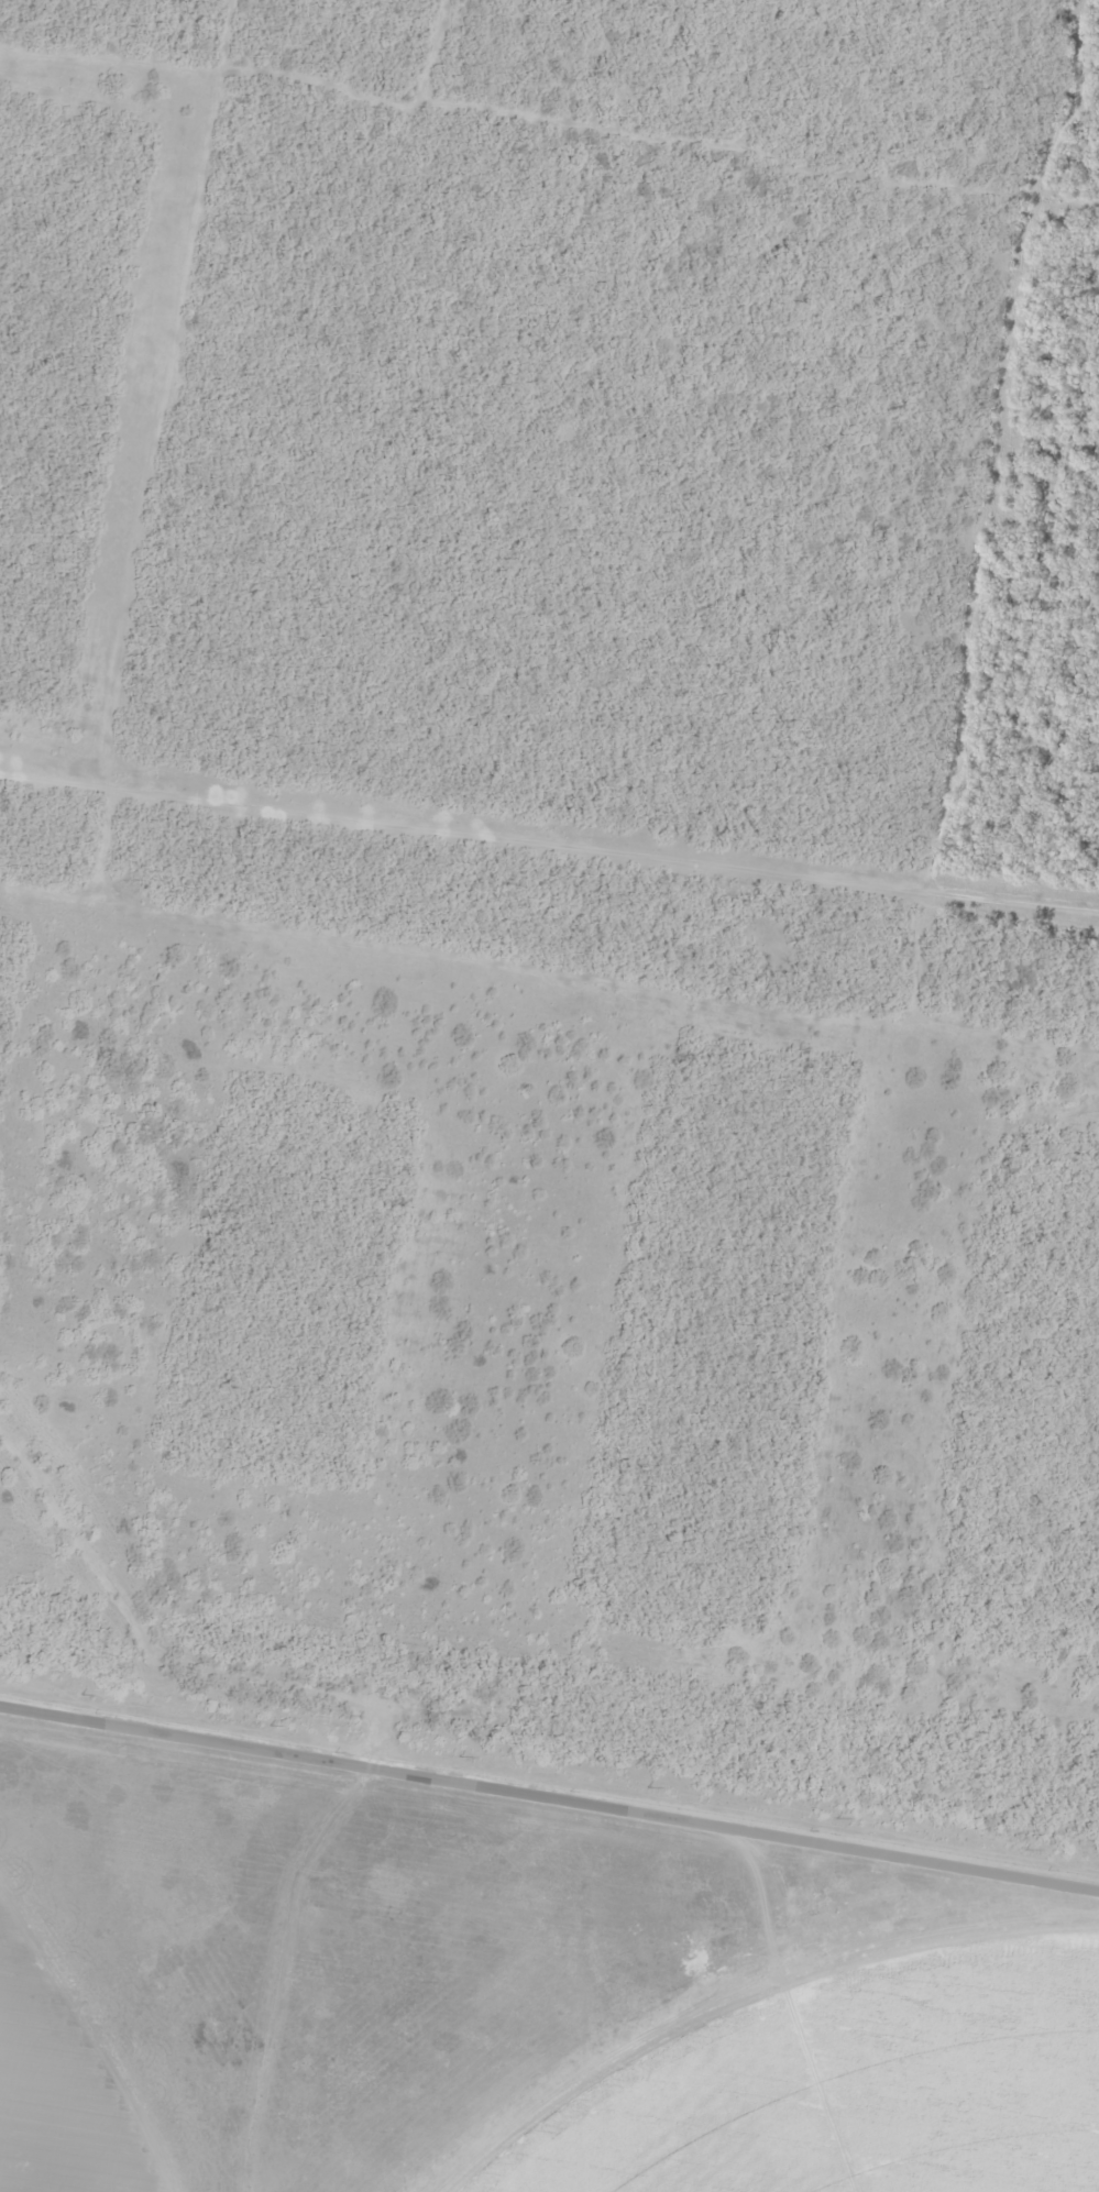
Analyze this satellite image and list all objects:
railway: (549, 1749)
road: (549, 1796)

